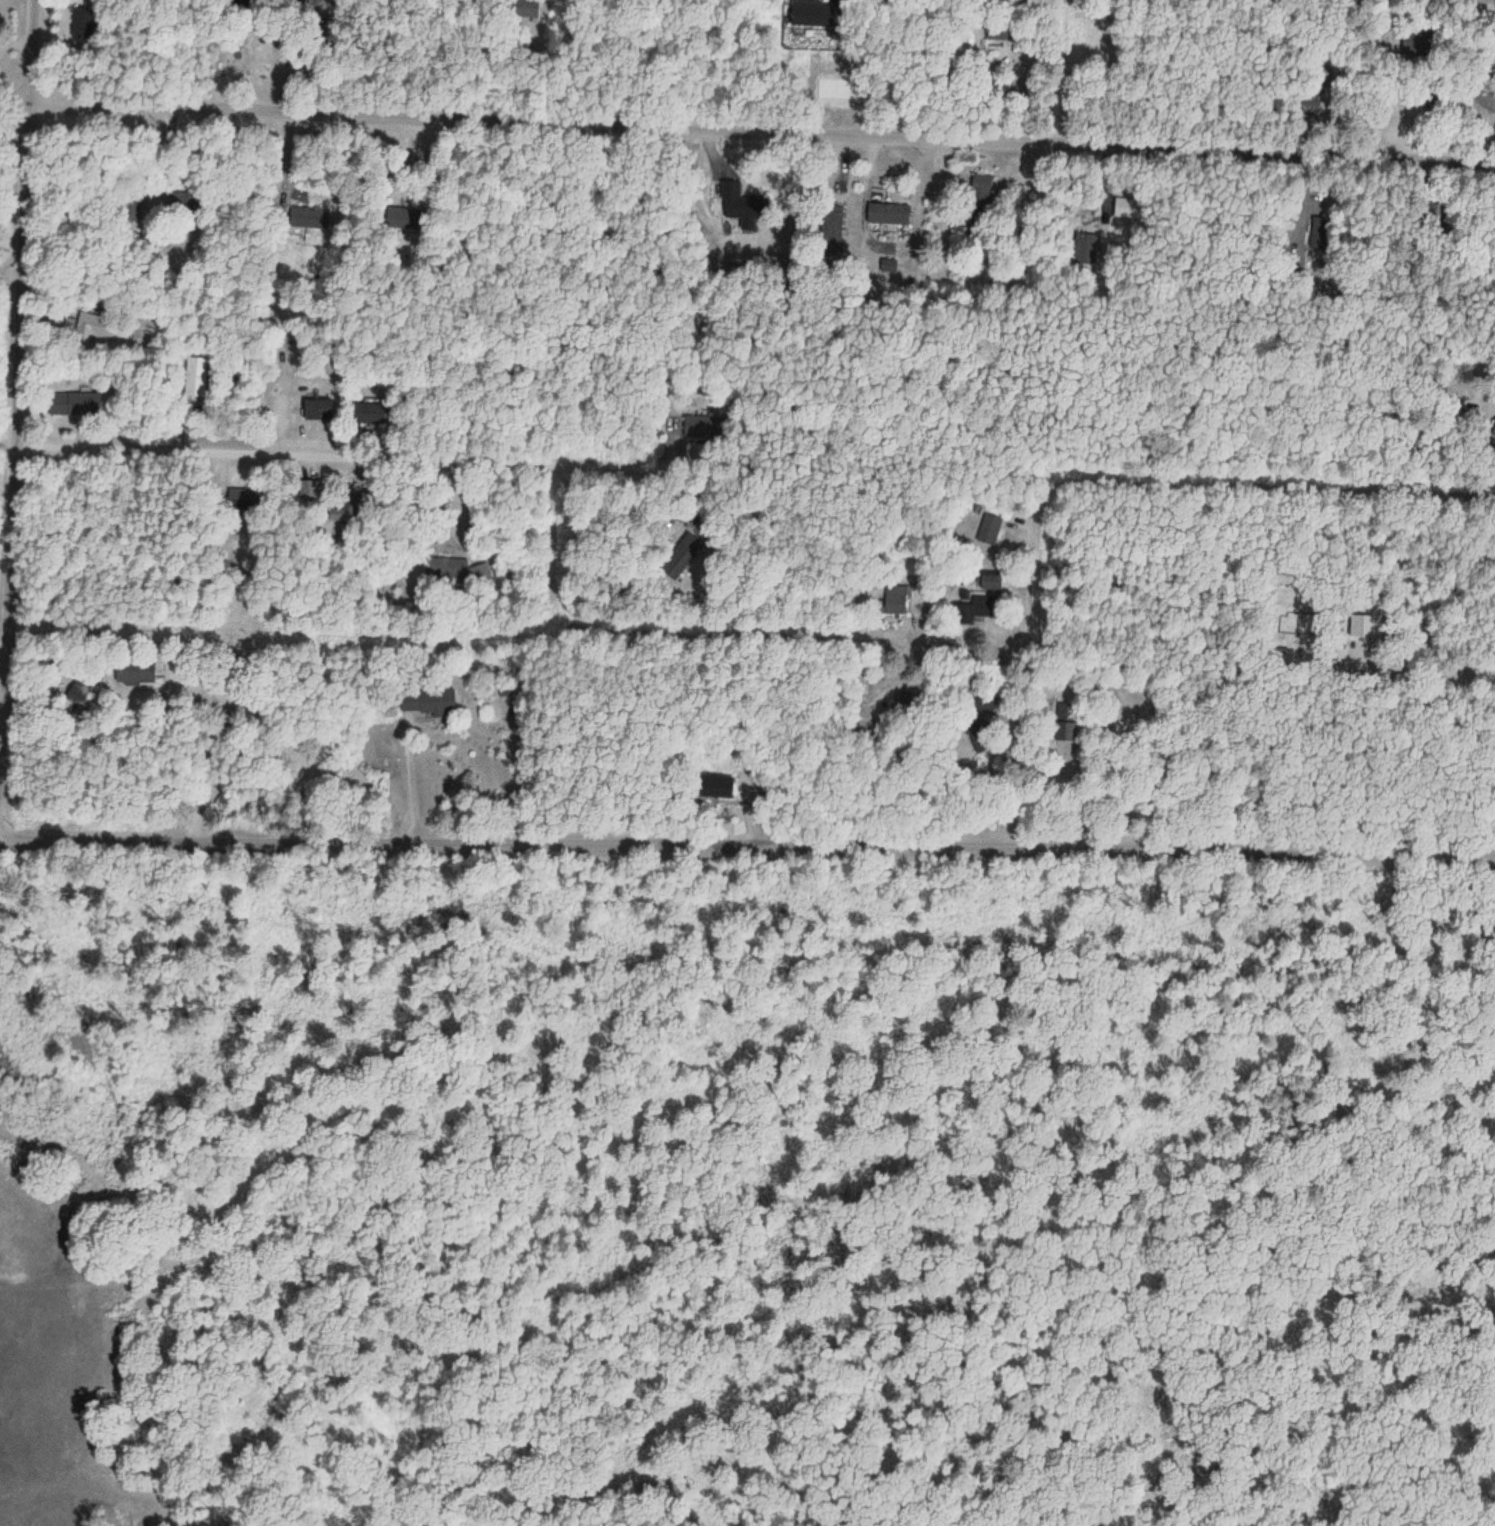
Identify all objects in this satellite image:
building: (810, 13)
building: (80, 23)
building: (998, 33)
road: (13, 113)
road: (760, 126)
building: (982, 192)
building: (886, 213)
building: (831, 223)
building: (1329, 230)
road: (13, 276)
building: (98, 325)
building: (197, 377)
building: (74, 401)
building: (316, 409)
road: (26, 415)
building: (1494, 430)
road: (531, 462)
building: (309, 490)
building: (241, 499)
road: (548, 521)
building: (989, 529)
building: (988, 582)
building: (895, 599)
building: (975, 609)
road: (829, 650)
road: (317, 652)
road: (1038, 662)
building: (139, 673)
building: (427, 702)
building: (1066, 722)
building: (715, 786)
road: (747, 833)

